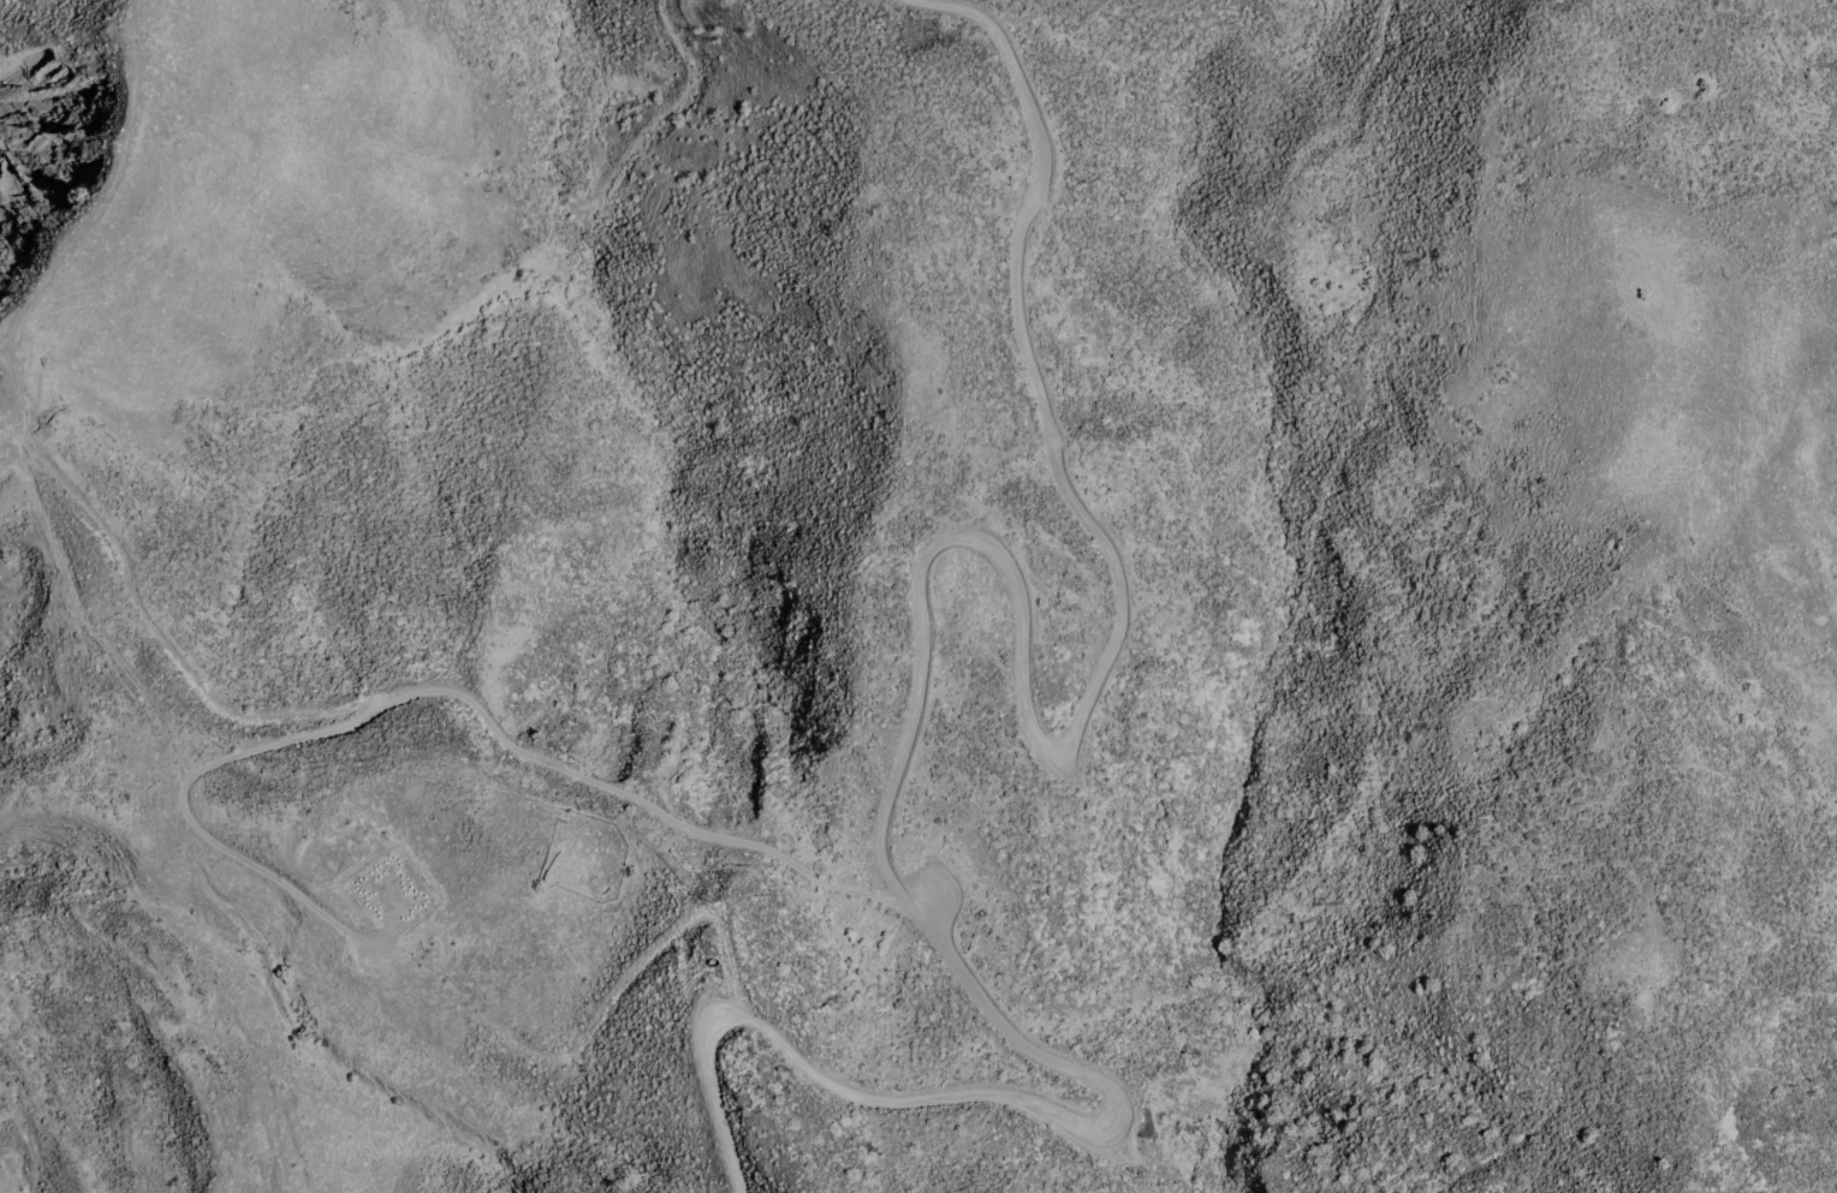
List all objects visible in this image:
road: (926, 621)

